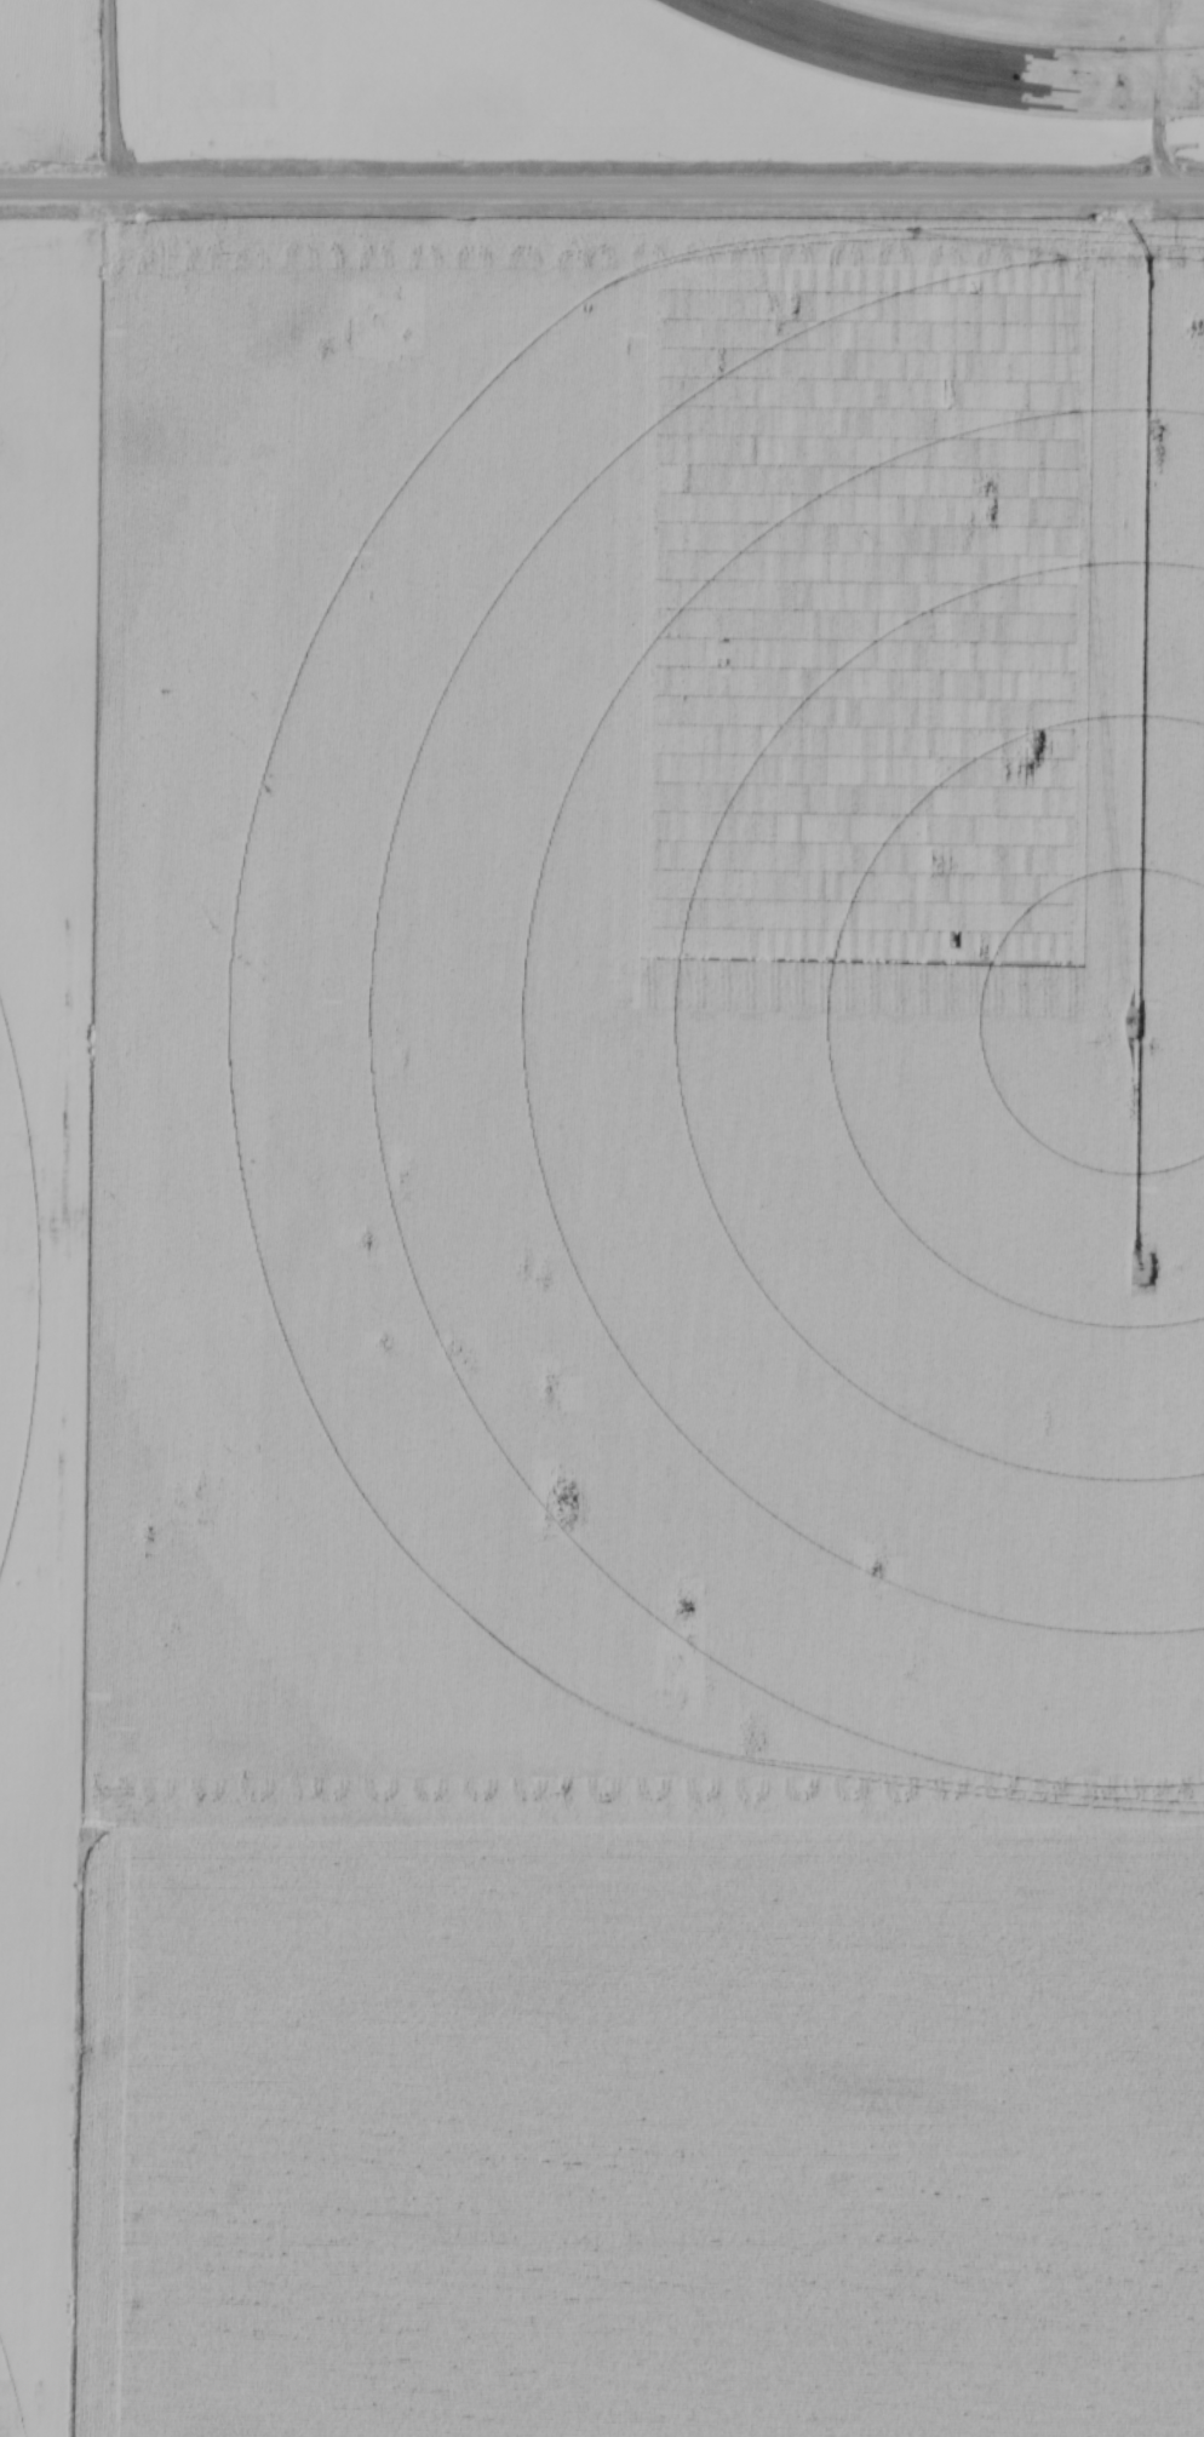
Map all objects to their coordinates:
road: (601, 195)

